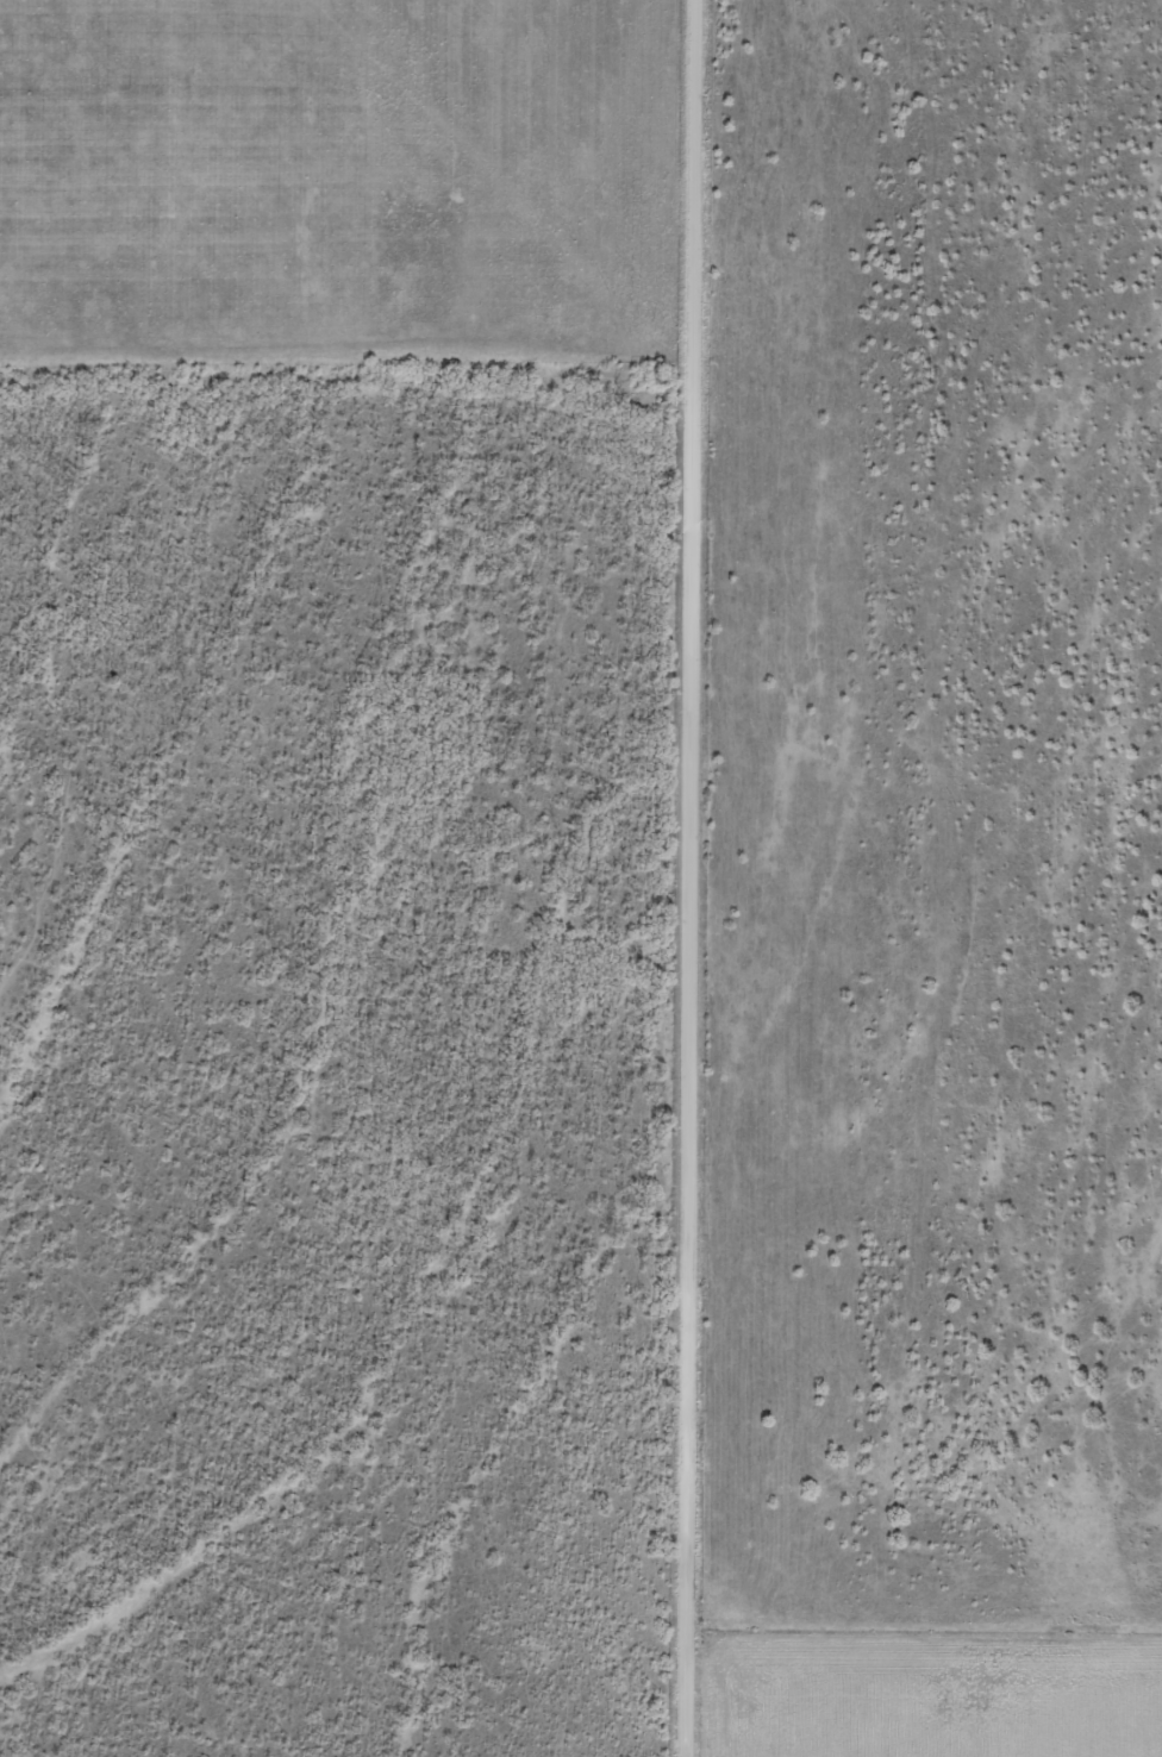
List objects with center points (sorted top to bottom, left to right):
road: (704, 878)

